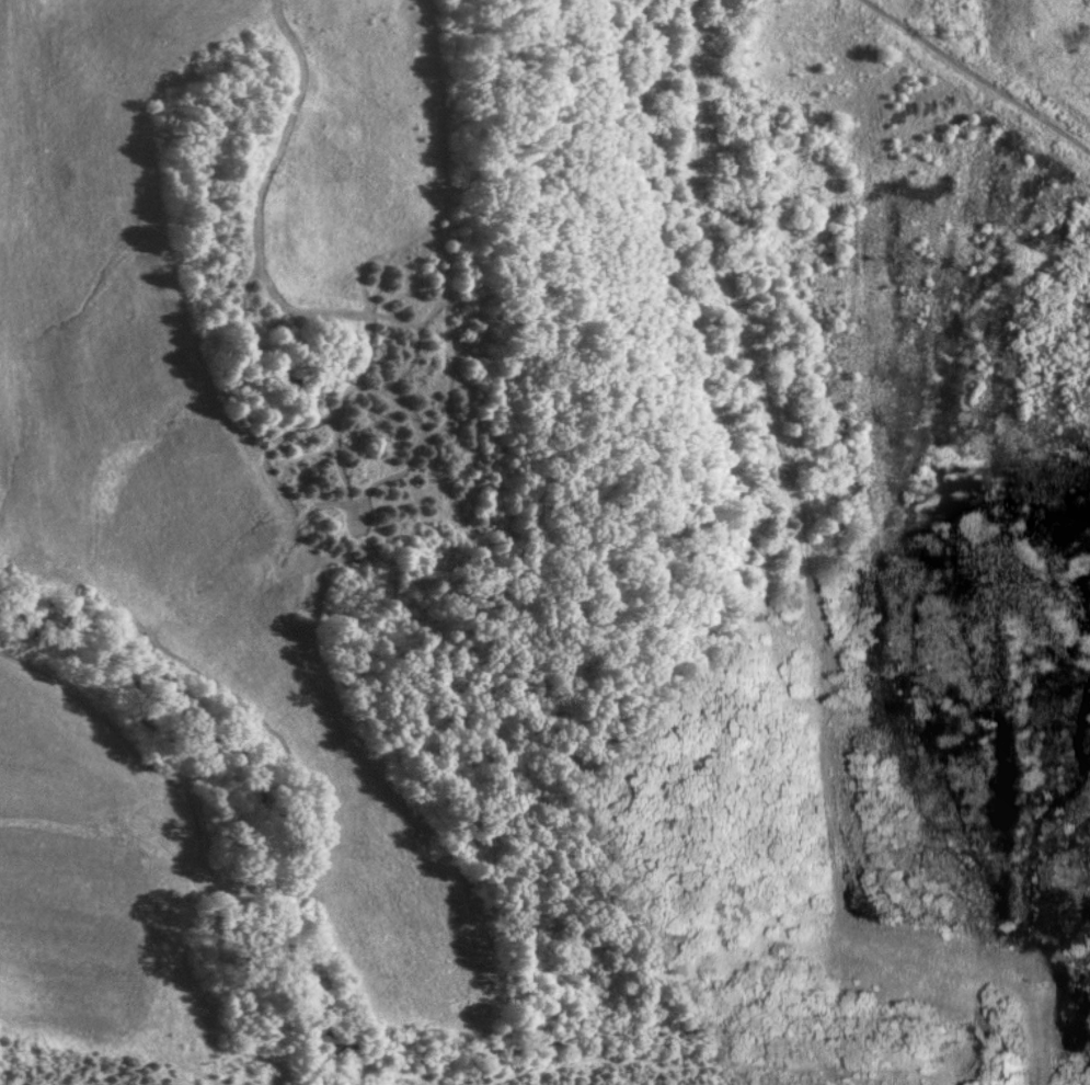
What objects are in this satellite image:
power tower: (952, 35)

